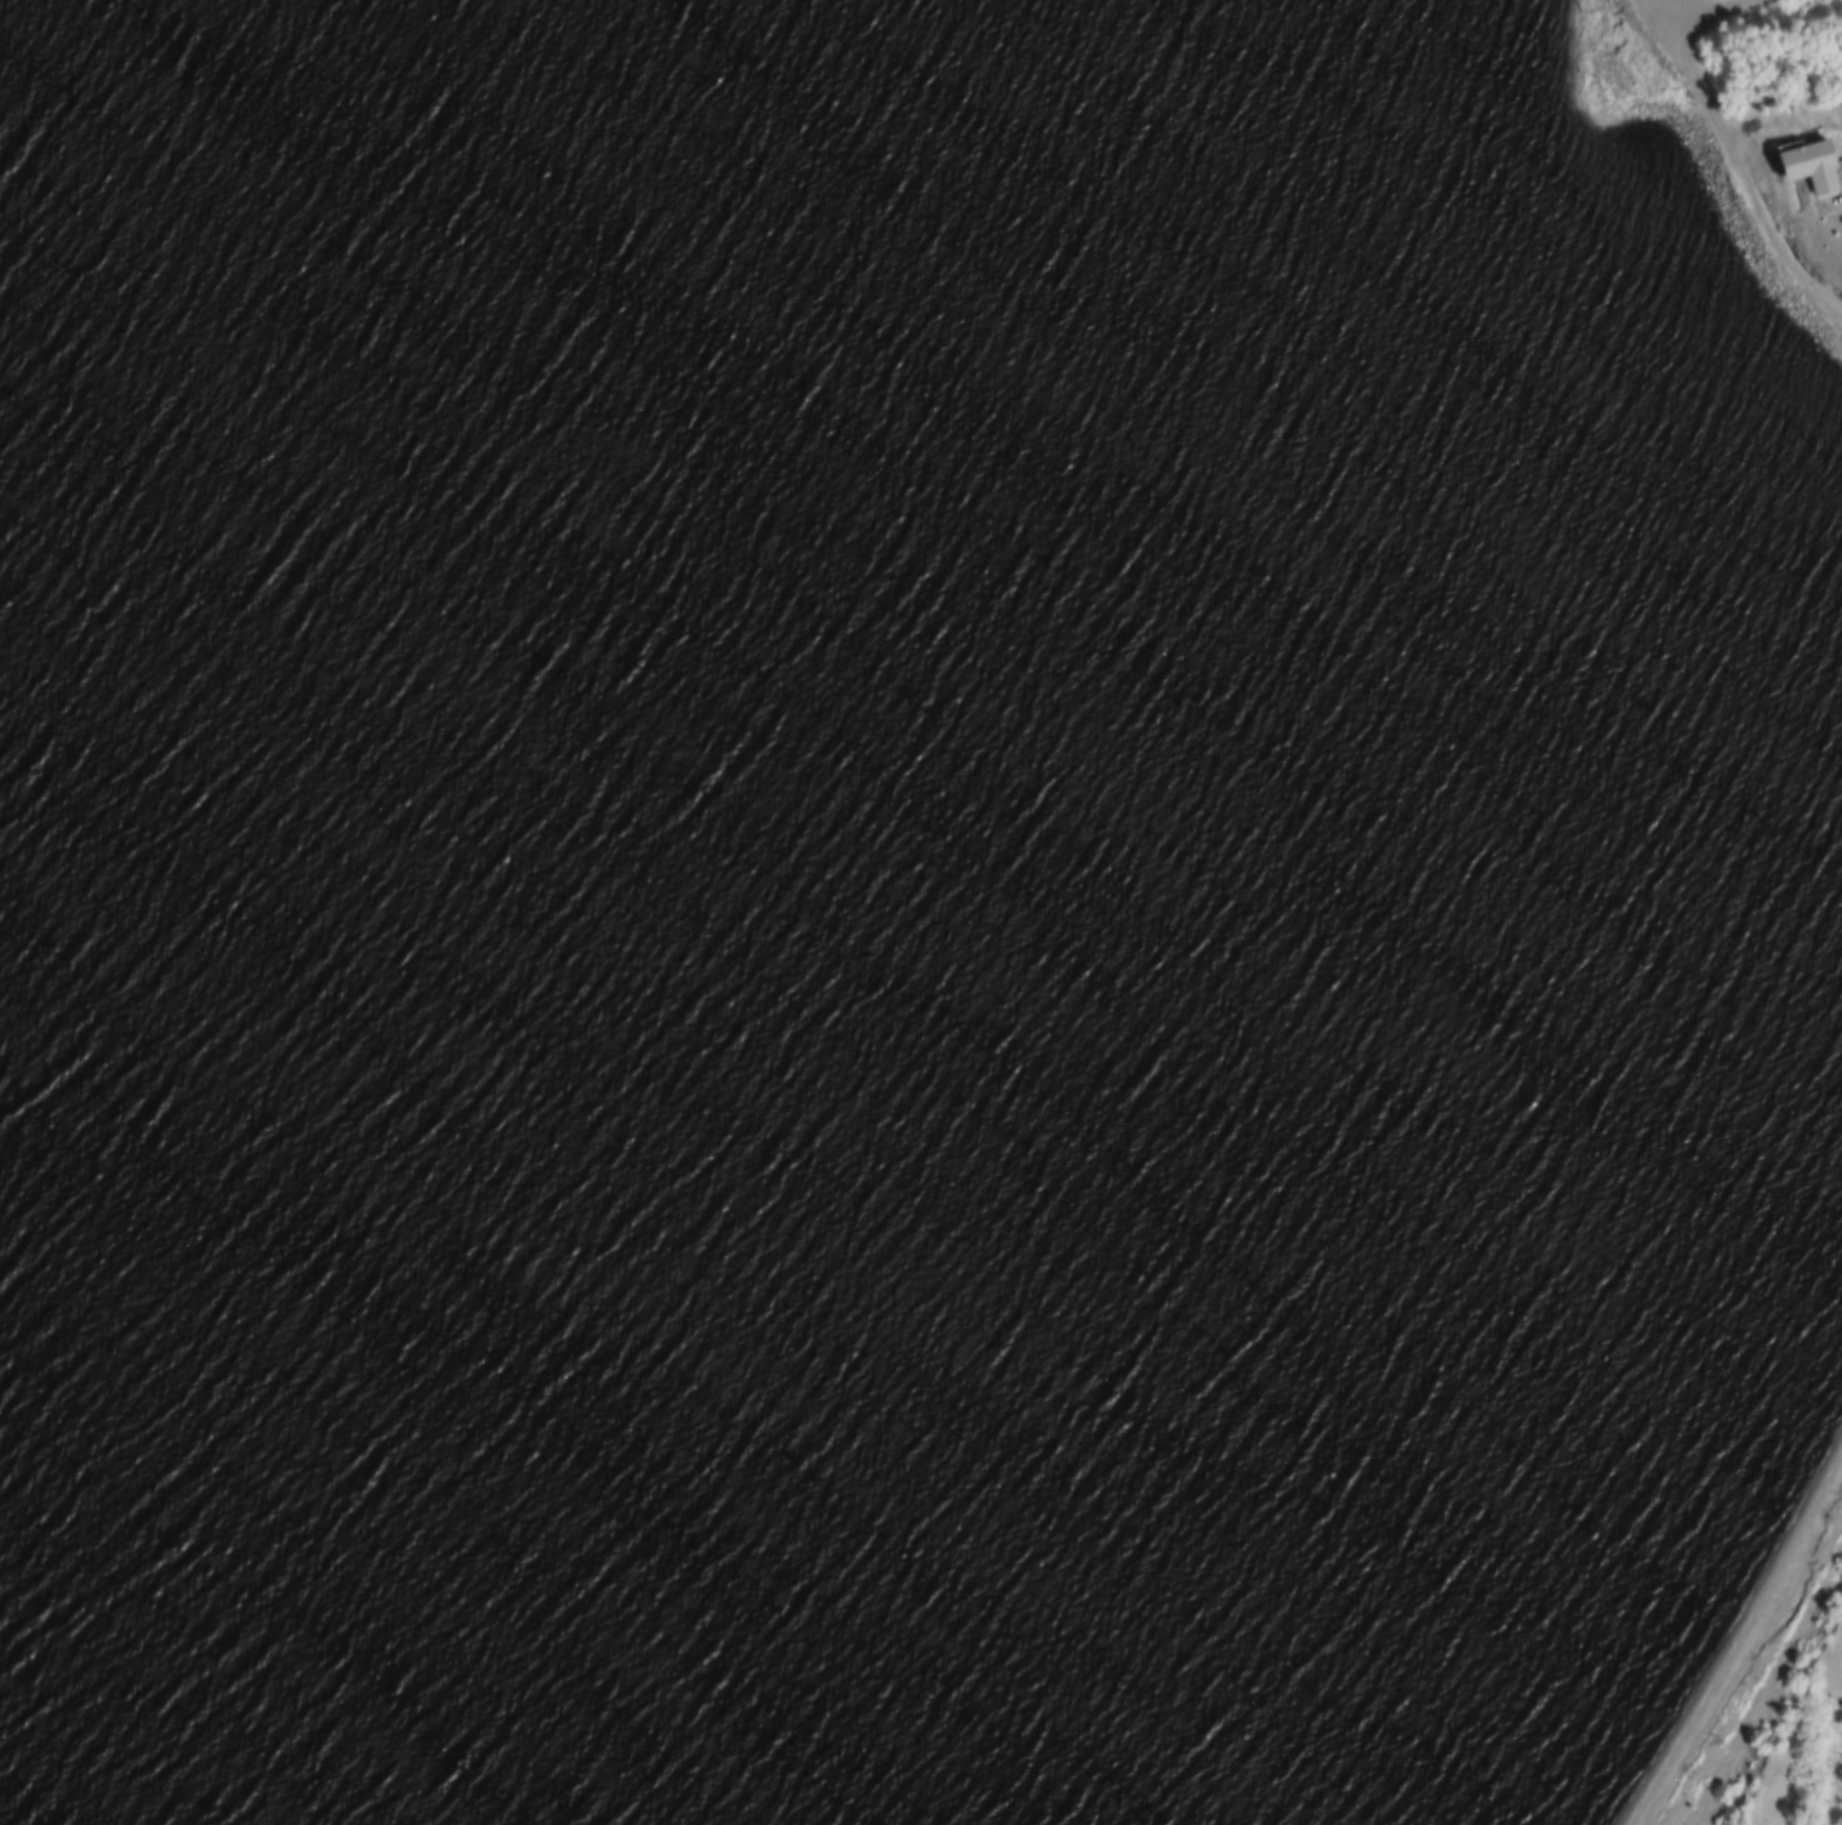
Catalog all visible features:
building: (1809, 165)

